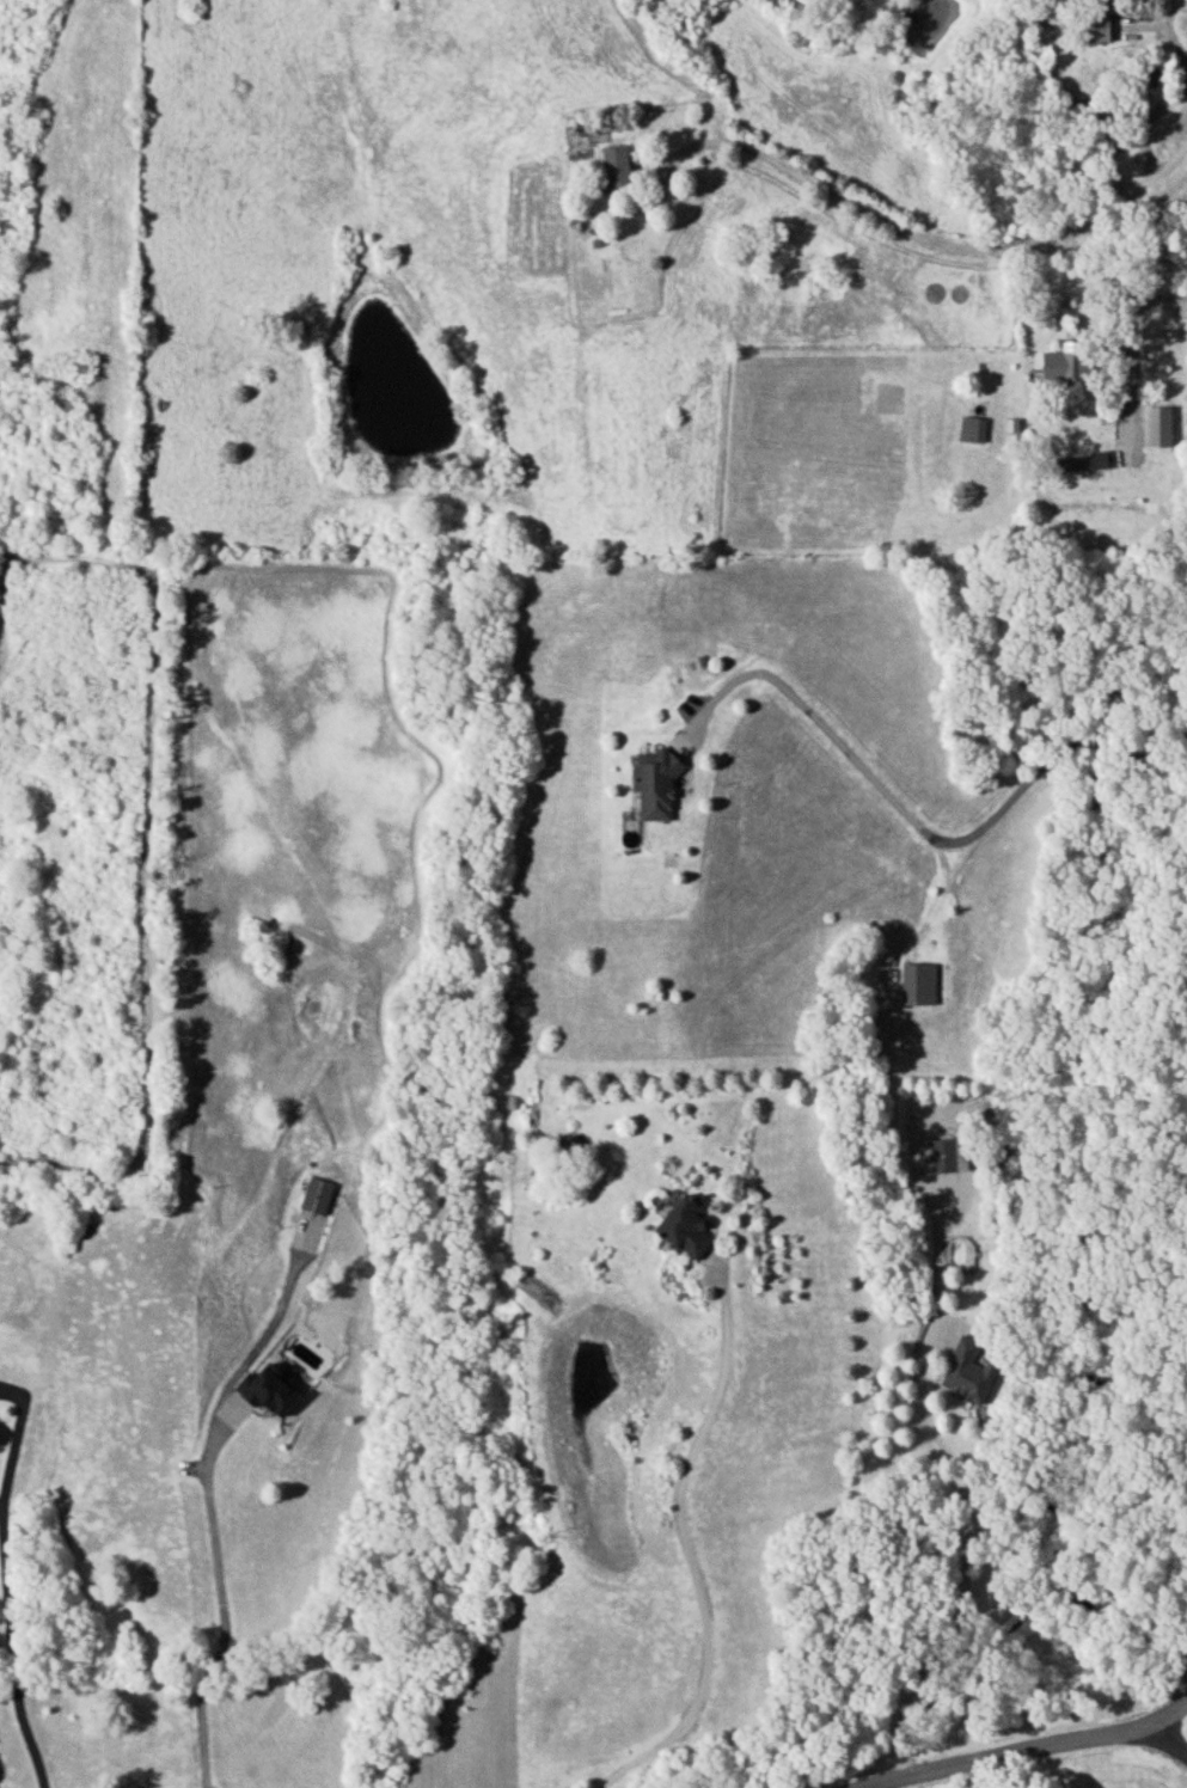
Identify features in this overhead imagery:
building: (1099, 26)
building: (614, 166)
road: (934, 240)
road: (1127, 322)
building: (1063, 362)
building: (1155, 425)
building: (971, 428)
building: (1084, 461)
building: (653, 783)
road: (918, 826)
building: (917, 982)
building: (941, 1155)
building: (314, 1195)
building: (685, 1225)
building: (965, 1371)
building: (265, 1389)
road: (684, 1547)
road: (959, 1561)
road: (224, 1602)
road: (7, 1646)
road: (1158, 1720)
road: (1028, 1750)
road: (968, 1774)

